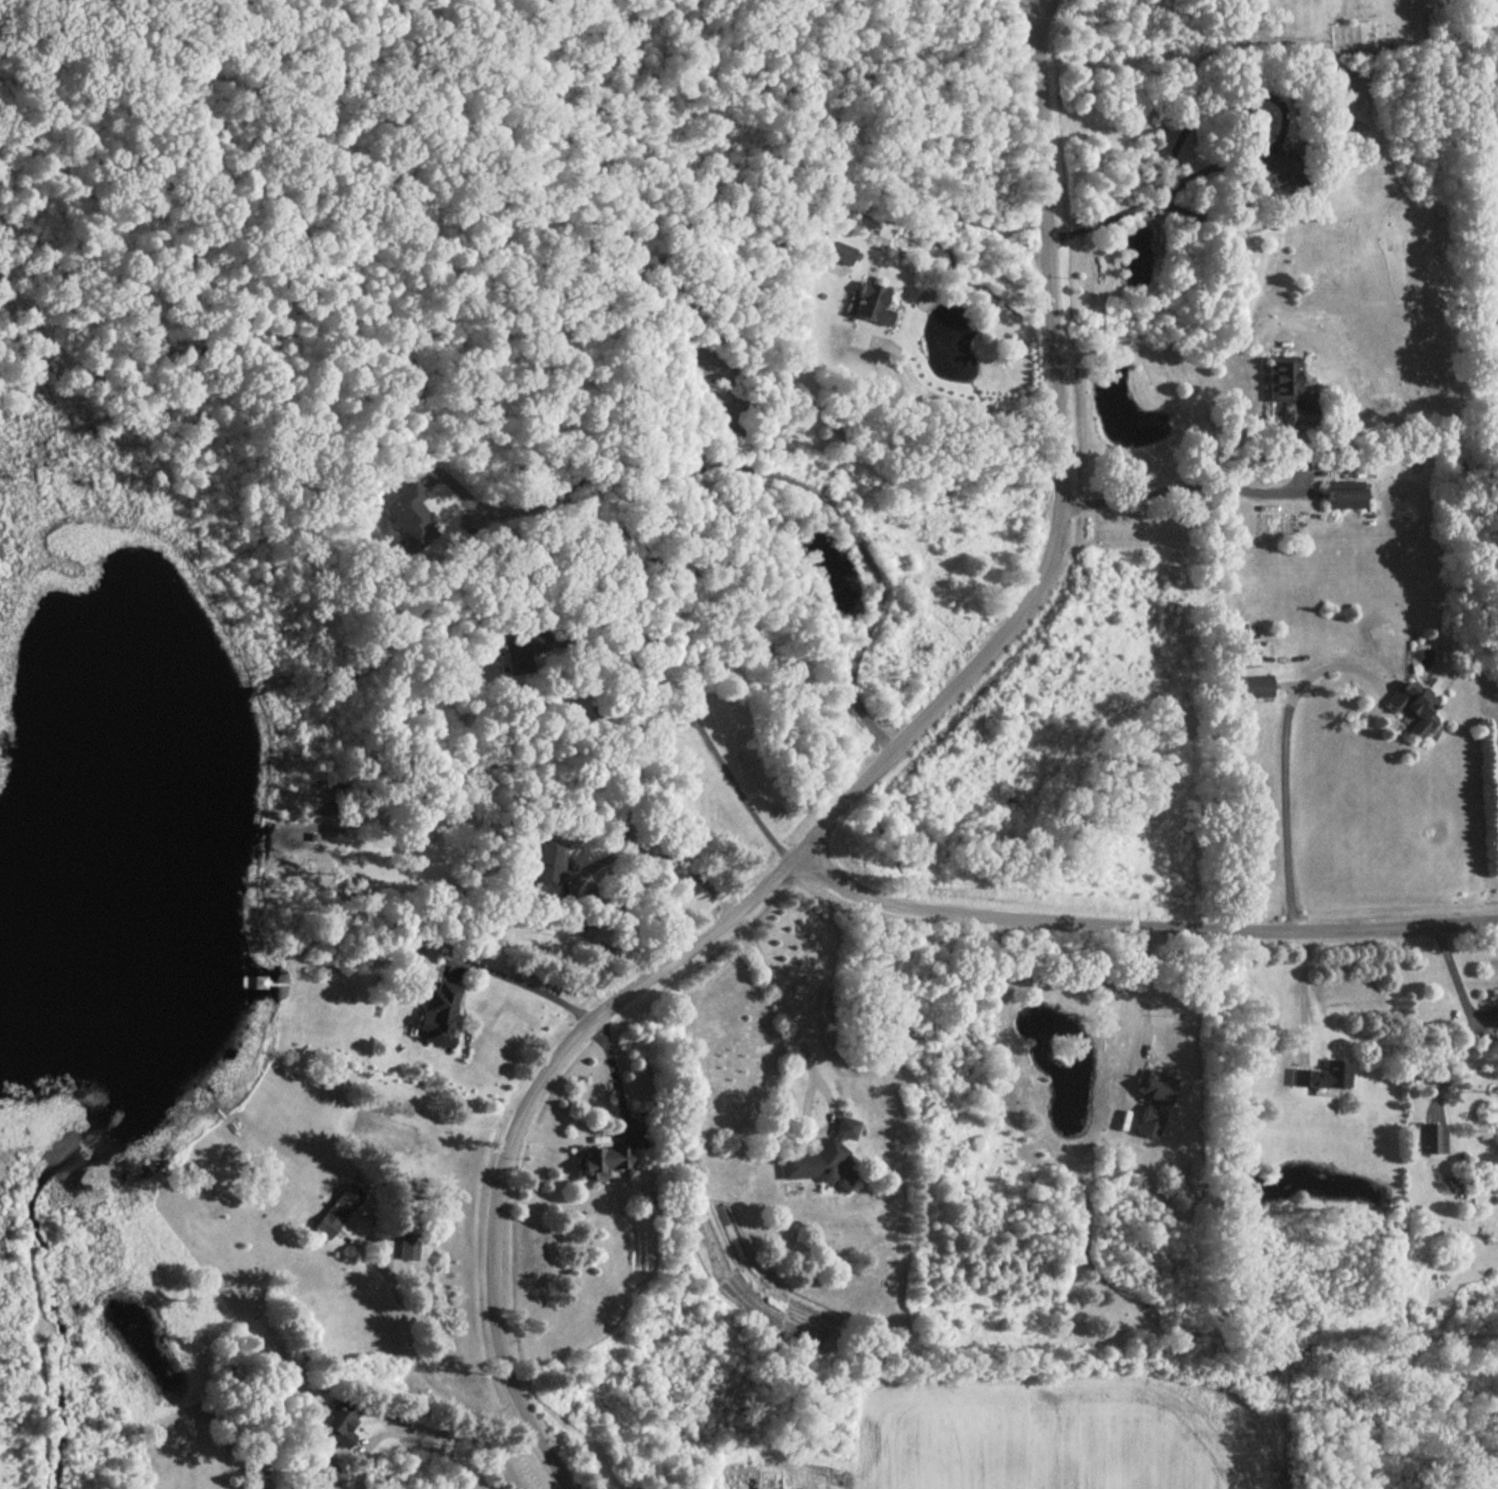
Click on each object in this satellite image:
road: (4, 21)
road: (1179, 139)
building: (841, 251)
building: (871, 303)
building: (1286, 384)
road: (967, 406)
road: (766, 474)
road: (1181, 488)
building: (1343, 493)
building: (408, 516)
building: (514, 650)
building: (1254, 681)
building: (1410, 705)
road: (698, 728)
road: (1284, 767)
road: (857, 791)
building: (547, 862)
road: (594, 866)
road: (1138, 928)
road: (1454, 975)
road: (523, 984)
road: (1143, 989)
road: (1304, 992)
road: (783, 1003)
building: (1496, 1009)
building: (438, 1013)
building: (1321, 1074)
building: (1156, 1085)
building: (1149, 1119)
road: (622, 1126)
building: (1432, 1137)
building: (824, 1158)
building: (600, 1159)
building: (337, 1209)
building: (408, 1246)
road: (421, 1365)
building: (338, 1422)
road: (438, 1451)
building: (325, 1470)

